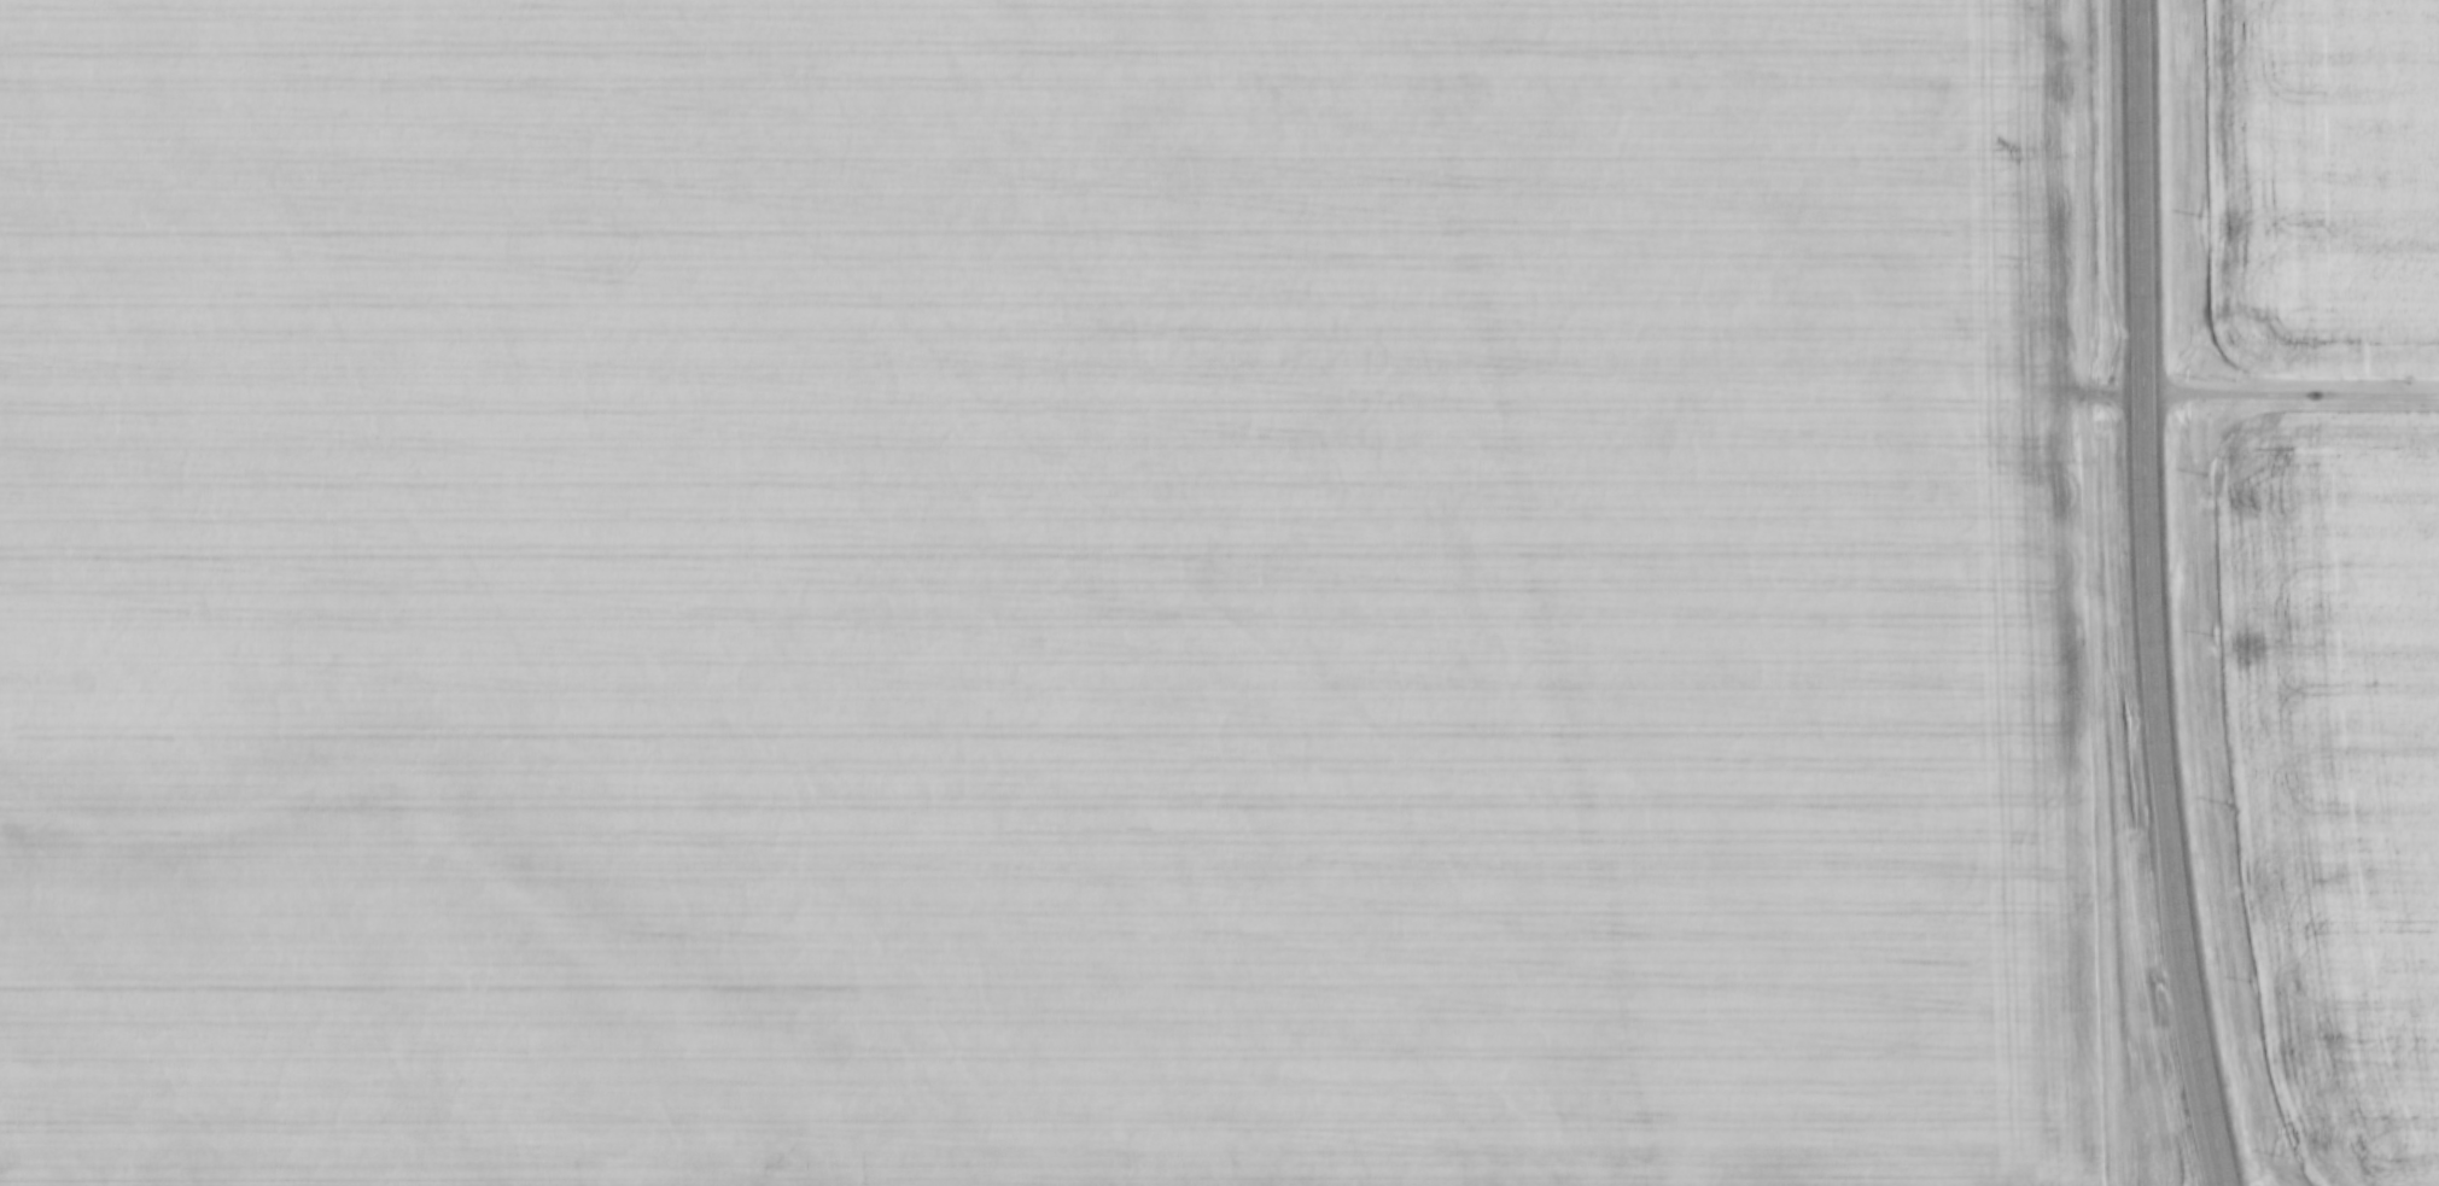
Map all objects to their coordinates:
road: (2138, 195)
road: (2289, 395)
road: (2163, 791)

